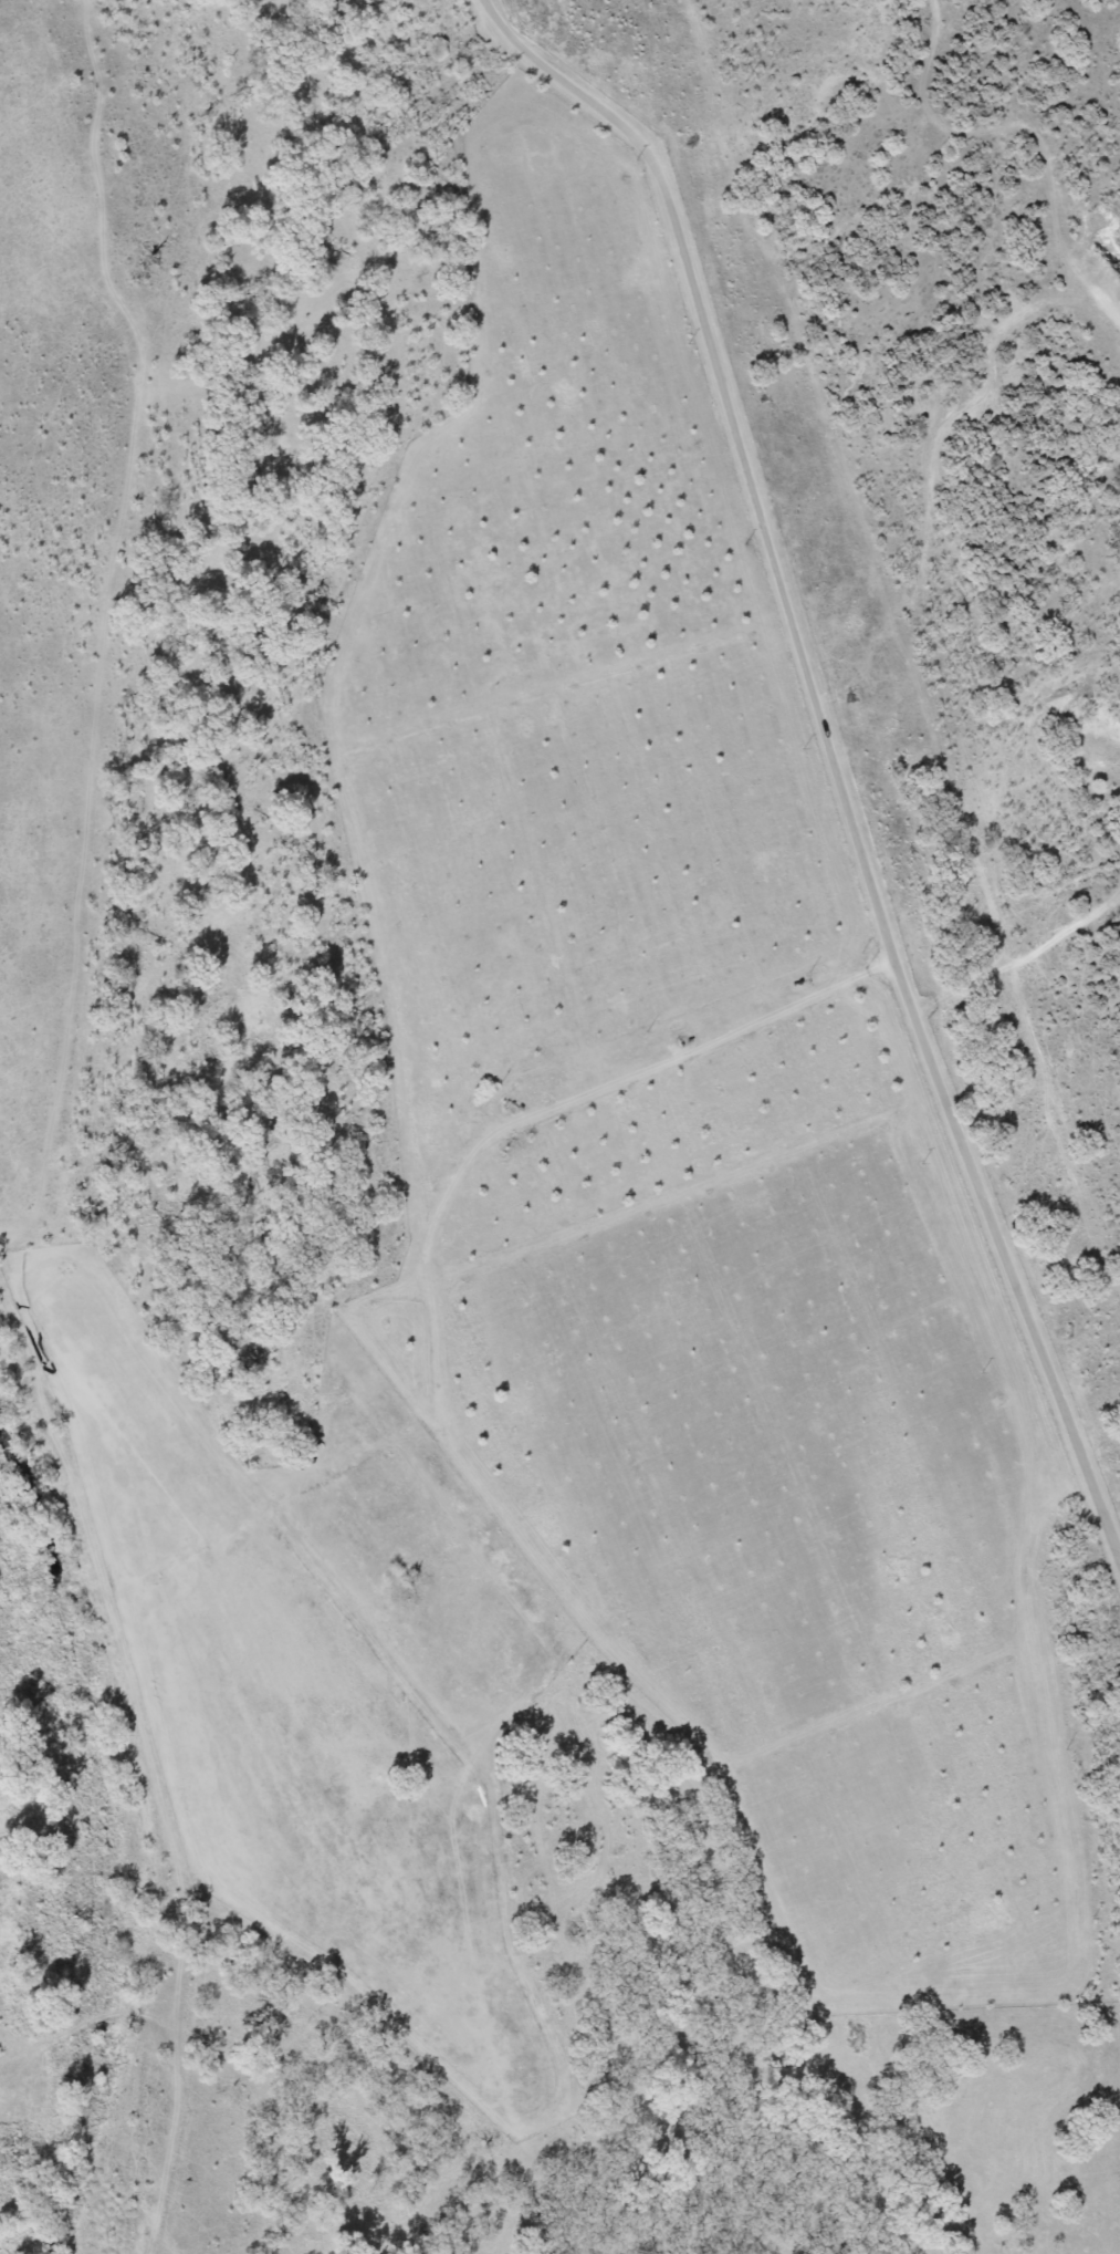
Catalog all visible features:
railway: (893, 685)
road: (835, 747)
road: (444, 1088)

